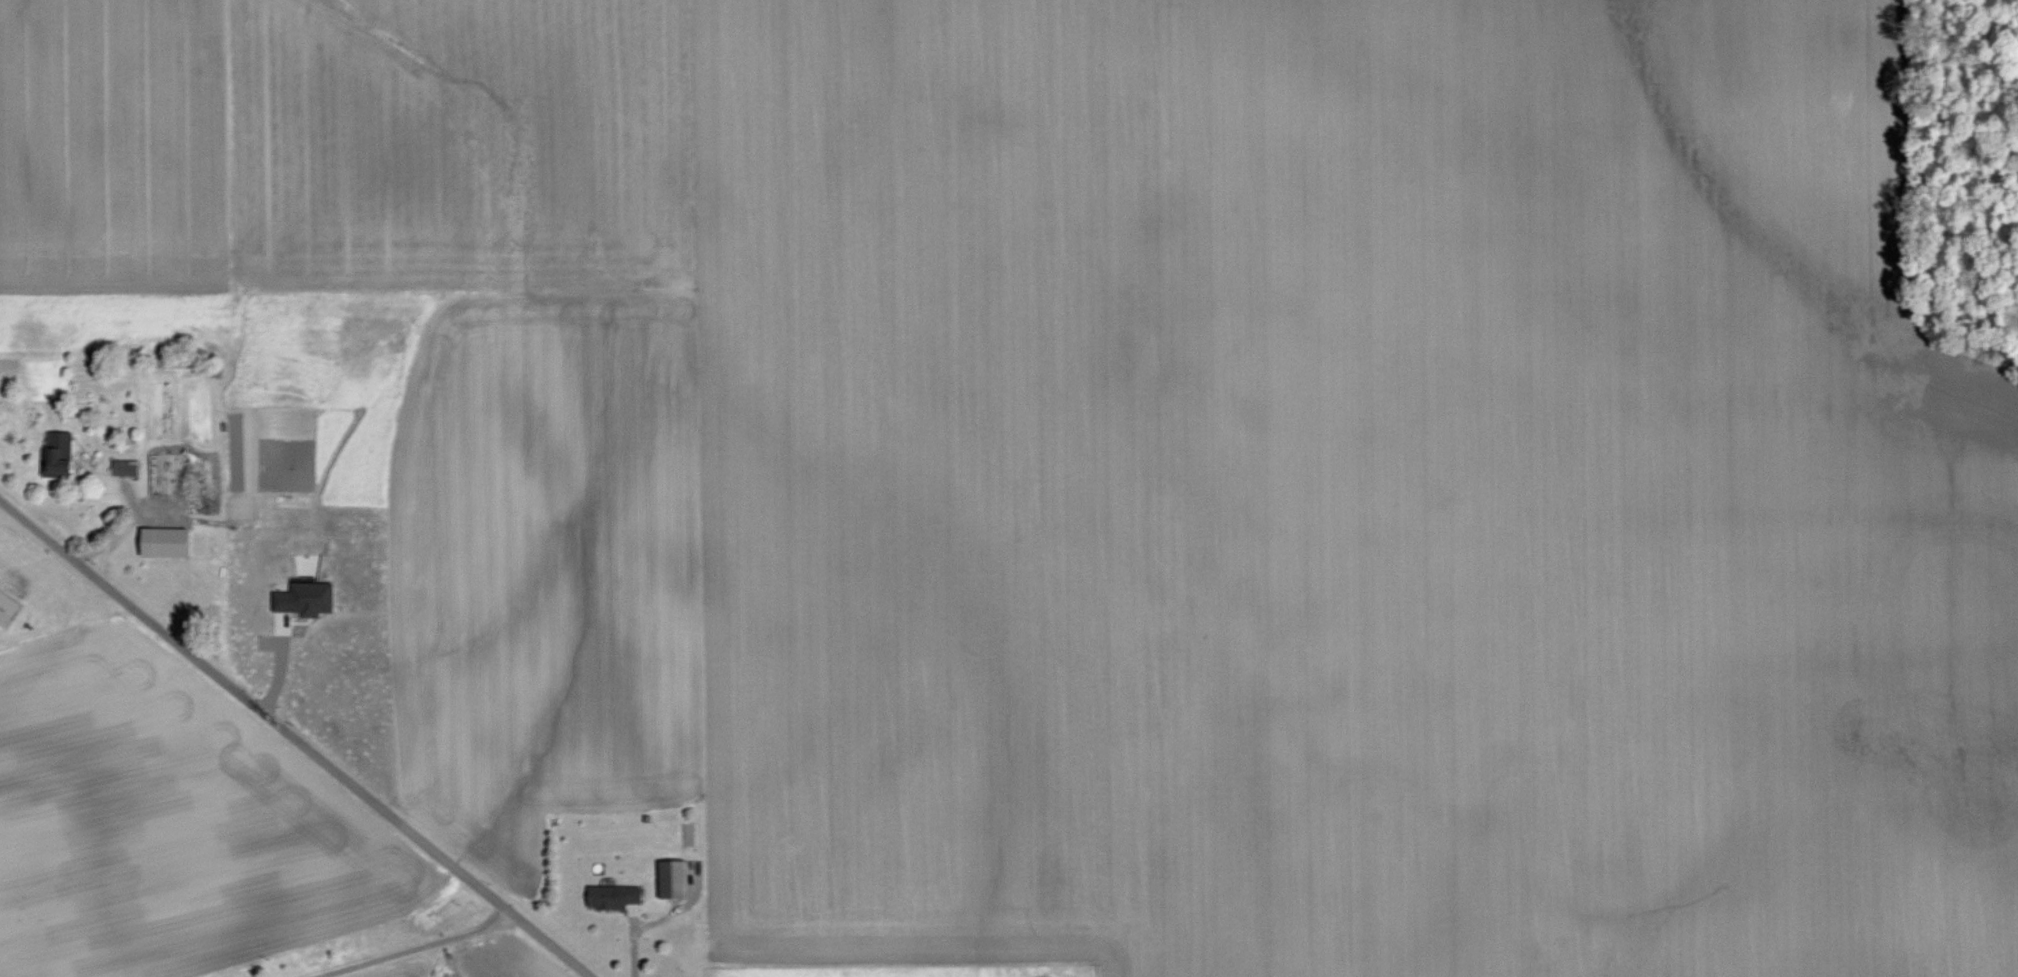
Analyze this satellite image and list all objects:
building: (57, 446)
building: (124, 468)
road: (128, 532)
building: (162, 542)
road: (111, 549)
building: (303, 599)
building: (5, 607)
road: (281, 667)
road: (294, 739)
building: (670, 879)
building: (610, 897)
road: (635, 943)
road: (421, 948)

